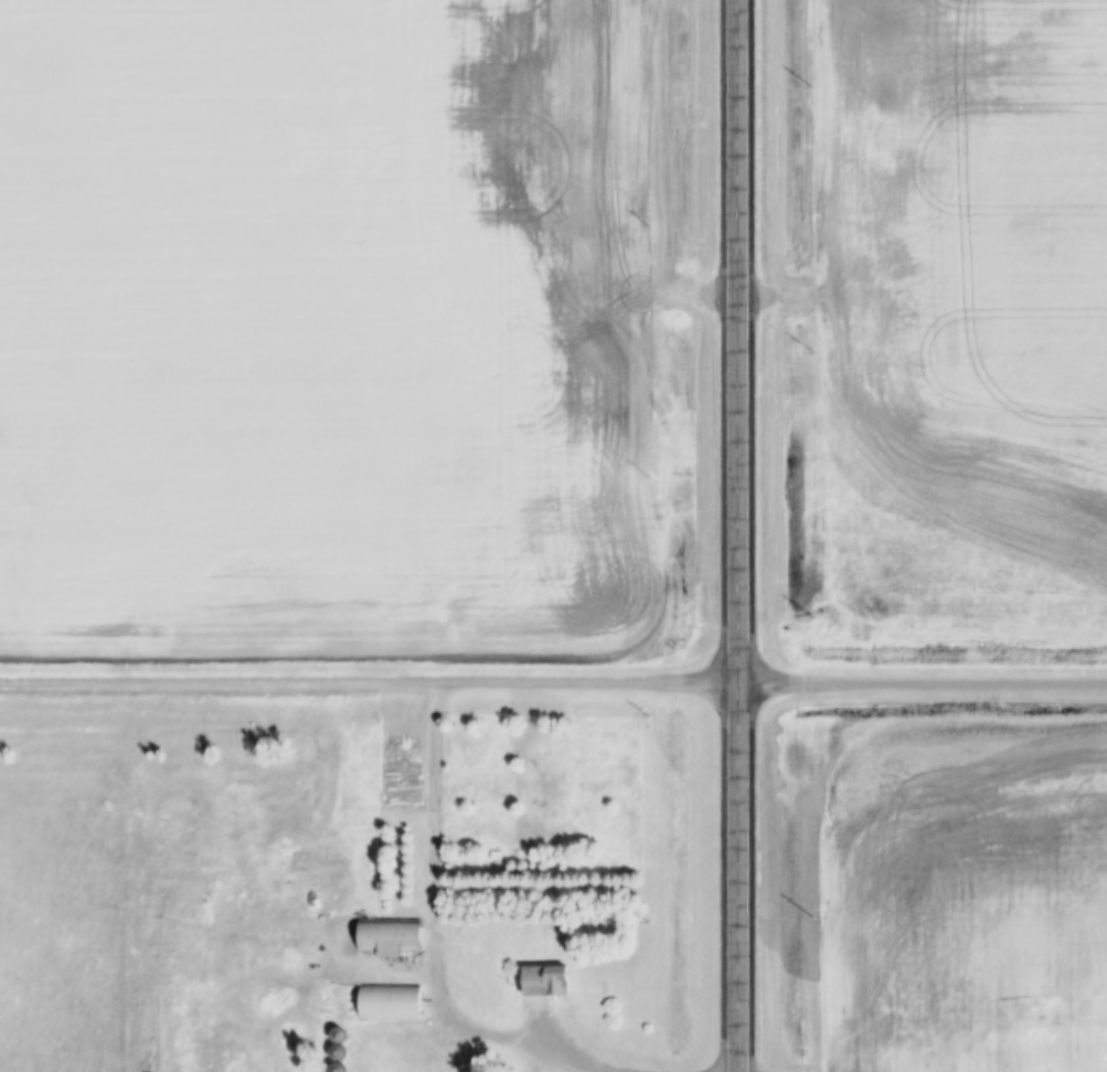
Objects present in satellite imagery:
road: (735, 535)
road: (368, 682)
road: (922, 682)
road: (432, 827)
building: (388, 937)
building: (544, 980)
building: (390, 1002)
building: (338, 1036)
silo: (338, 1036)
road: (512, 1040)
building: (337, 1053)
silo: (337, 1053)
building: (337, 1068)
silo: (337, 1068)

